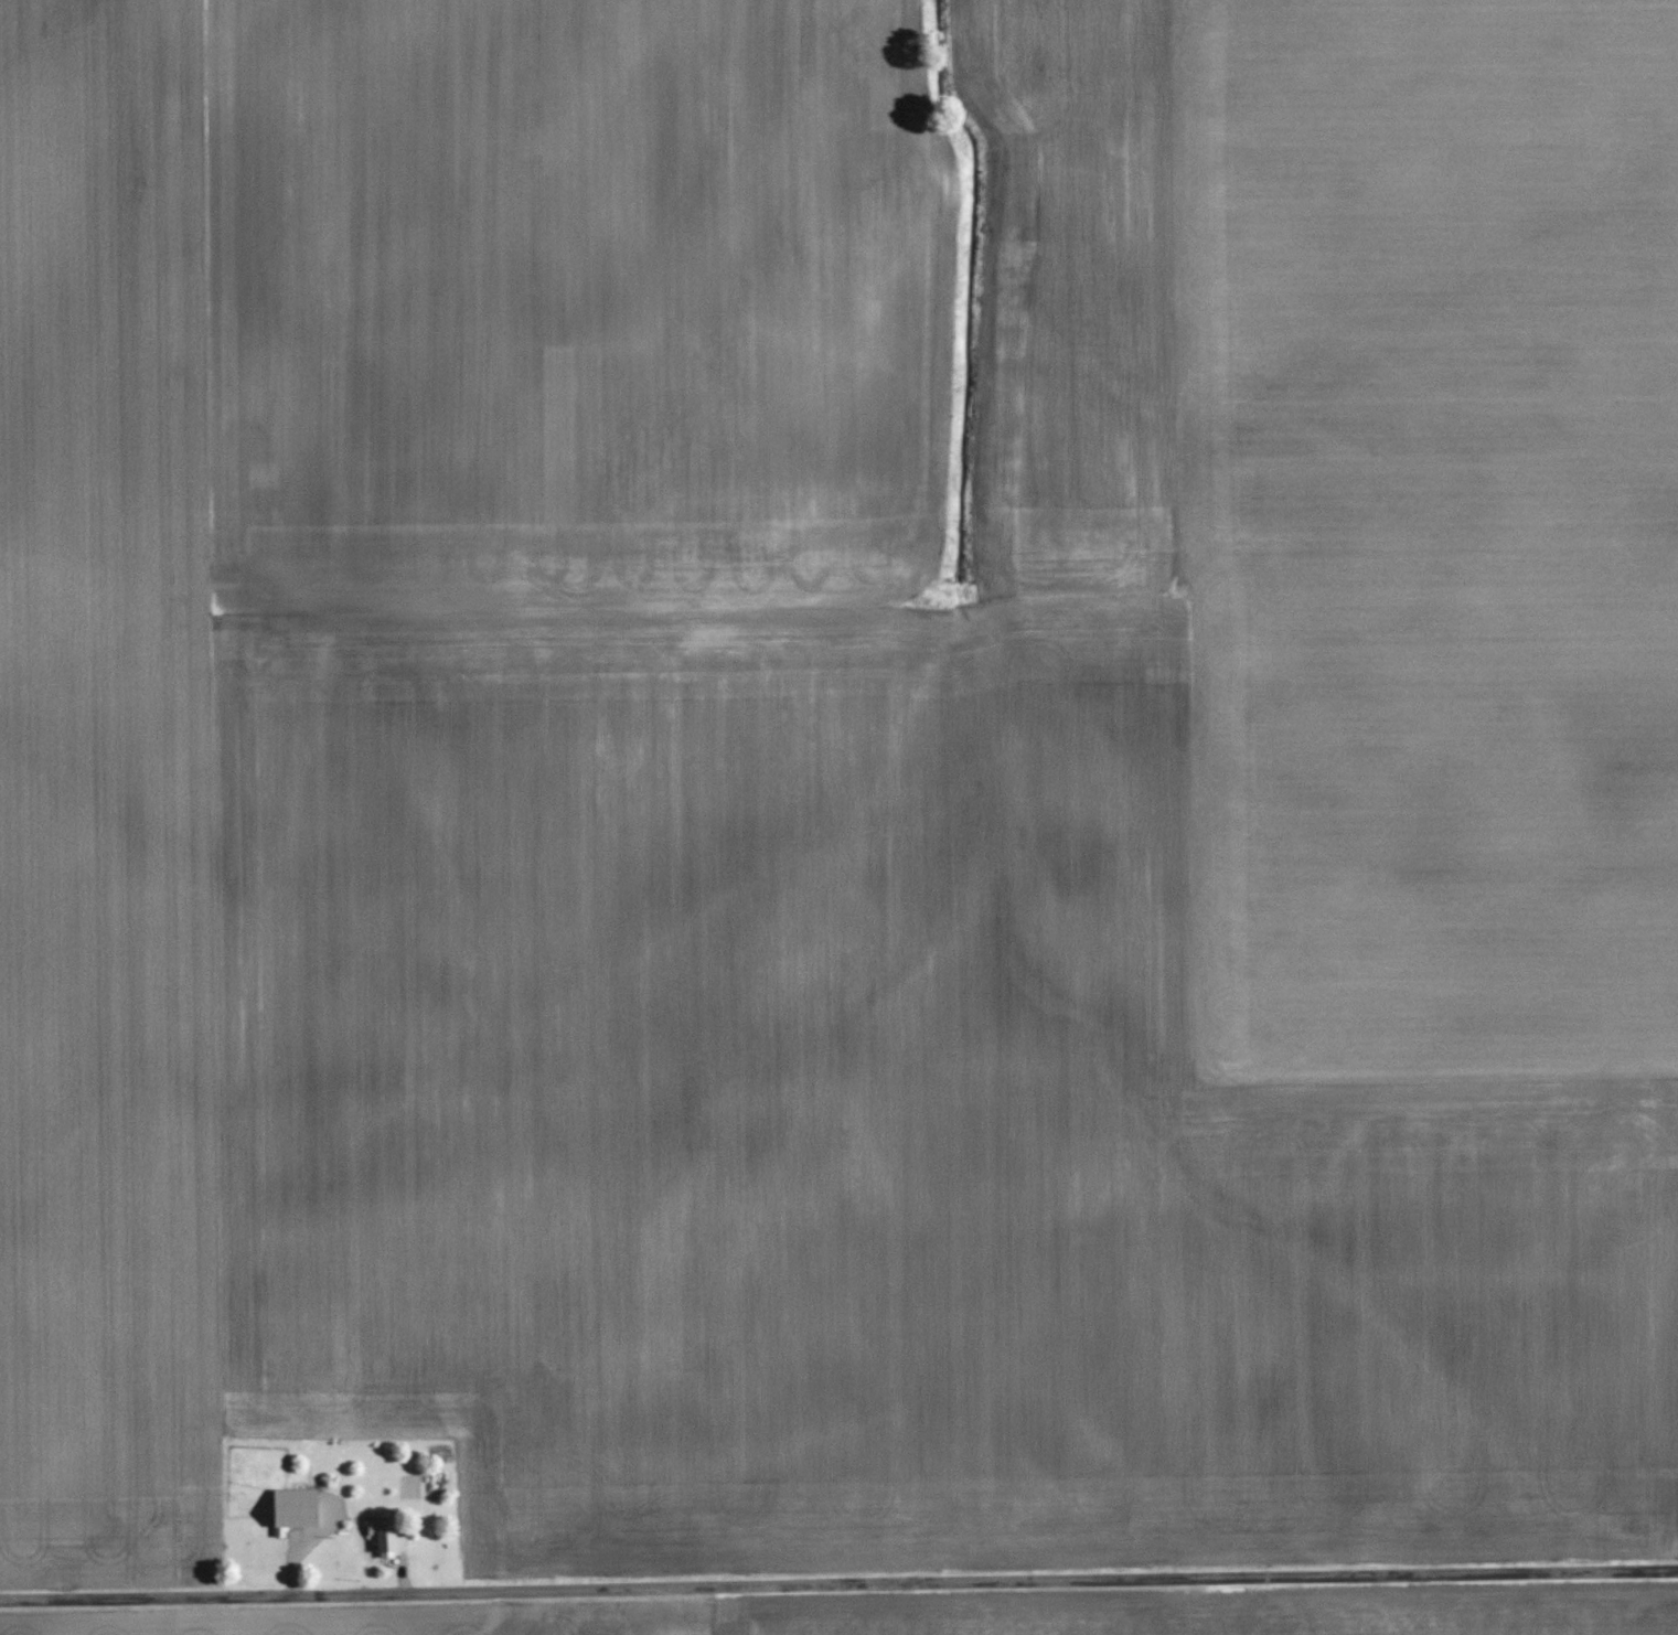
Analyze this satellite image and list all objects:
building: (293, 1508)
building: (385, 1537)
road: (838, 1588)

